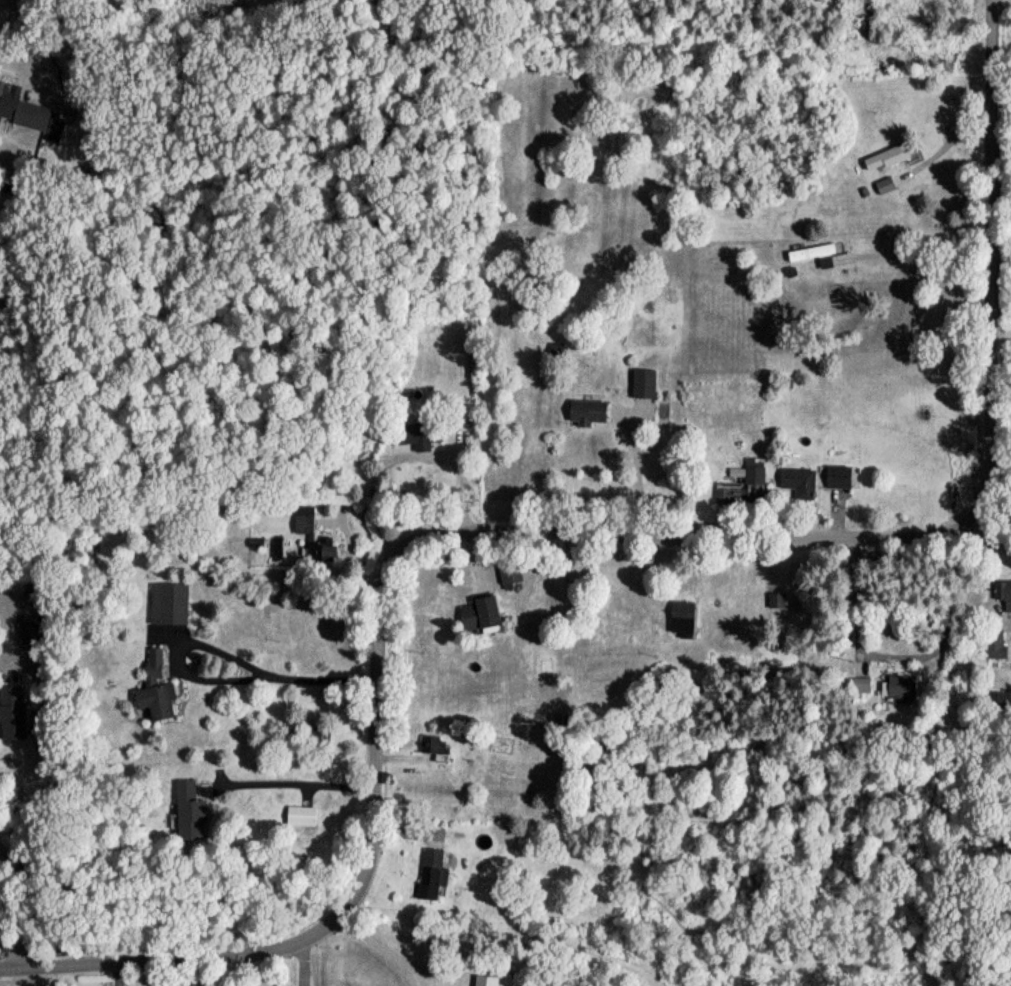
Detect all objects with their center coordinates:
road: (16, 74)
building: (28, 122)
building: (883, 164)
building: (882, 192)
building: (809, 259)
road: (945, 276)
building: (554, 355)
building: (641, 389)
building: (585, 417)
building: (418, 439)
road: (634, 478)
building: (835, 482)
building: (796, 488)
building: (739, 489)
building: (301, 530)
road: (585, 530)
building: (319, 554)
building: (508, 578)
building: (999, 605)
building: (774, 606)
building: (166, 609)
building: (476, 619)
building: (679, 625)
building: (27, 636)
road: (5, 639)
building: (991, 642)
road: (900, 660)
road: (265, 680)
building: (859, 691)
building: (897, 692)
building: (154, 693)
building: (10, 719)
building: (311, 745)
building: (433, 753)
road: (298, 788)
building: (186, 817)
building: (298, 821)
building: (429, 879)
road: (21, 911)
road: (382, 953)

